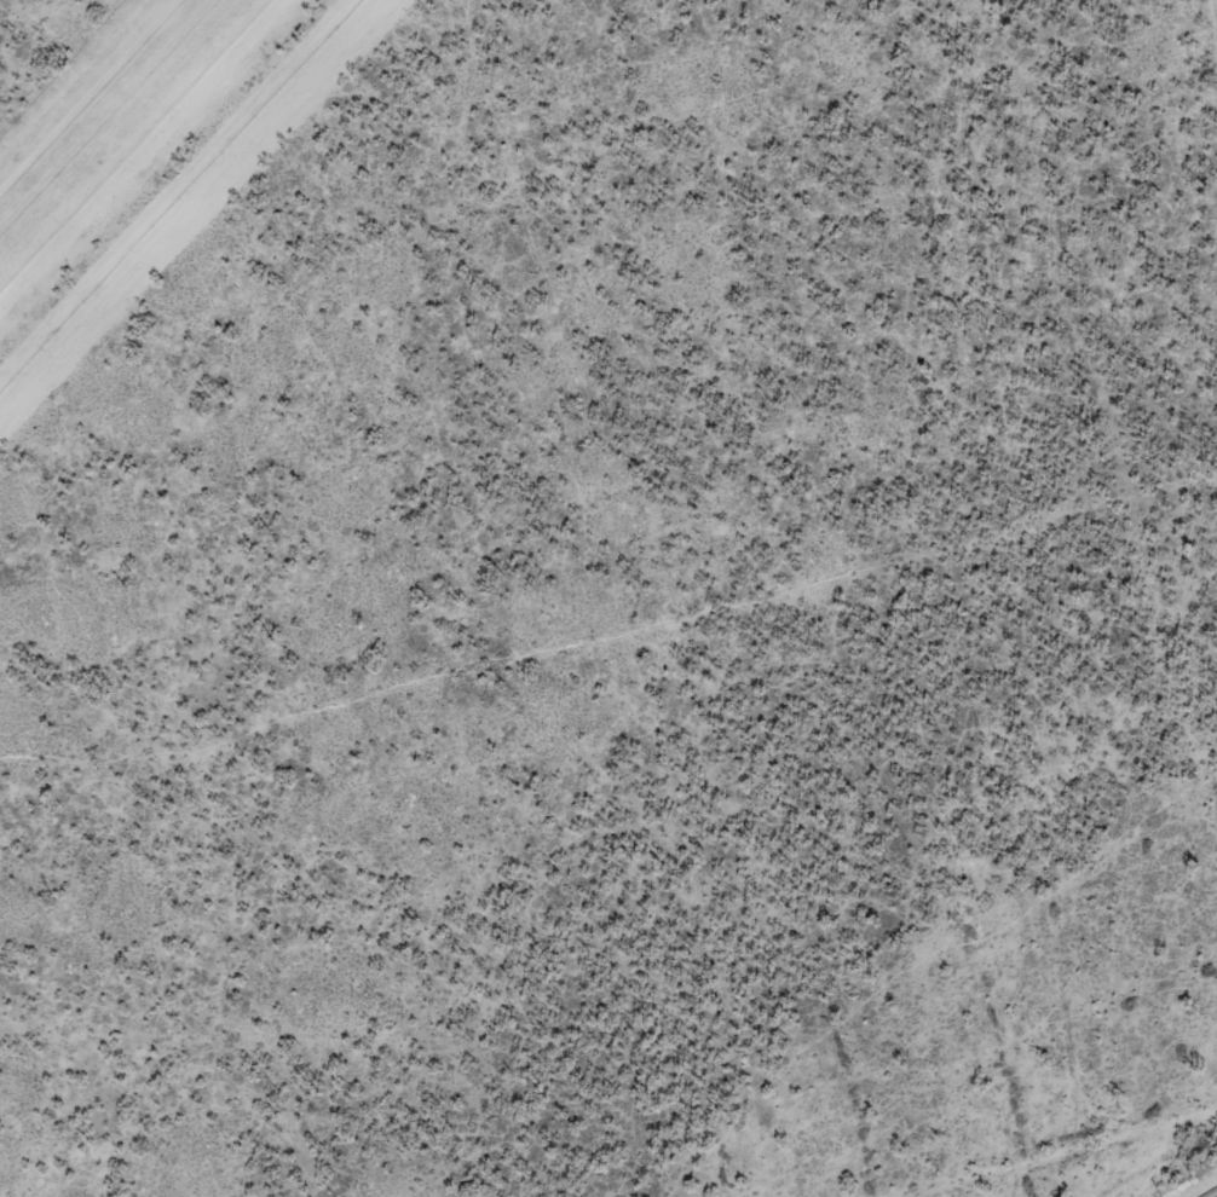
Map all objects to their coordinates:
road: (1209, 1192)

